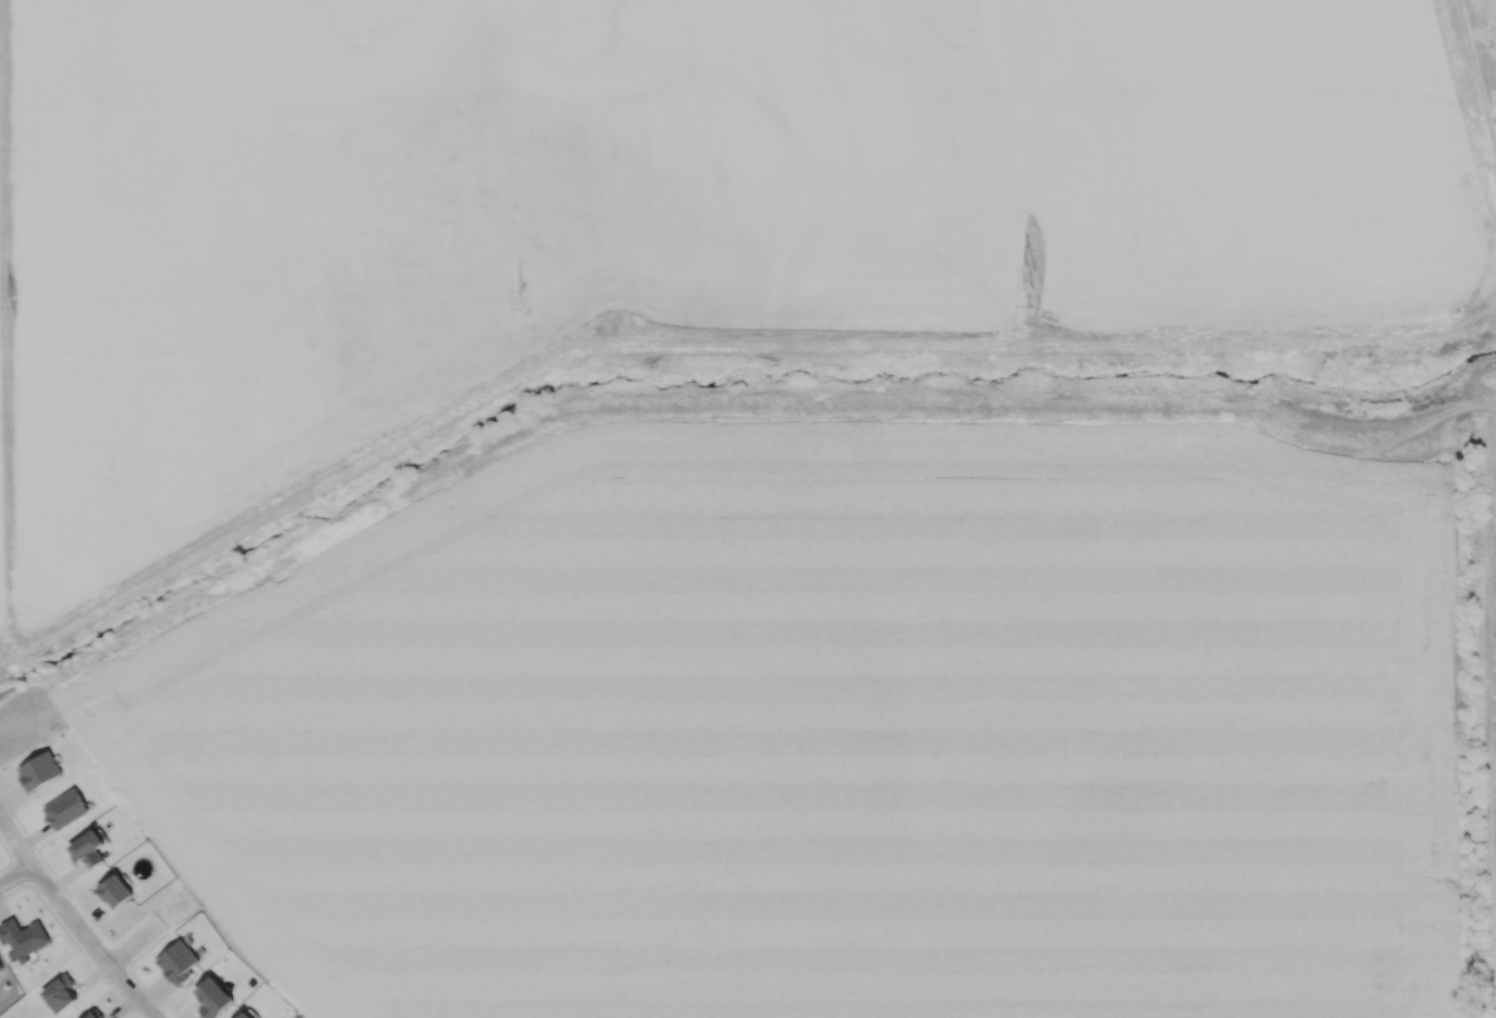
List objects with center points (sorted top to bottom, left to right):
power tower: (1480, 37)
power tower: (1029, 285)
power tower: (15, 294)
power tower: (528, 300)
road: (709, 344)
power tower: (1373, 354)
power tower: (984, 357)
power tower: (601, 358)
power tower: (200, 363)
building: (38, 771)
building: (65, 809)
building: (87, 849)
road: (15, 873)
building: (114, 891)
road: (72, 920)
building: (23, 938)
building: (176, 961)
building: (0, 967)
building: (59, 993)
building: (212, 998)
building: (93, 1014)
building: (244, 1015)

